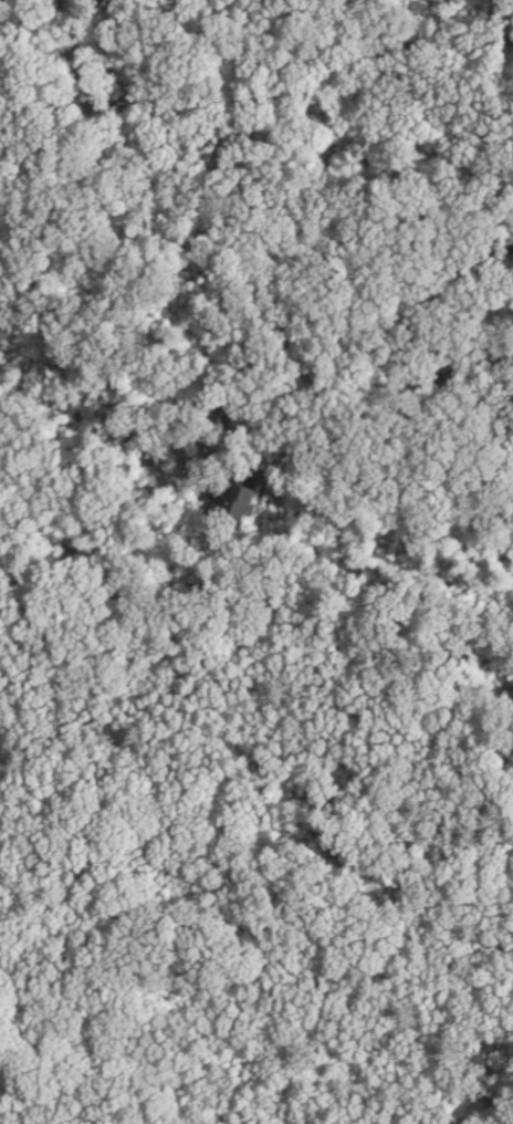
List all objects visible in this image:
road: (76, 55)
road: (258, 91)
road: (297, 266)
building: (244, 502)
road: (477, 1071)

